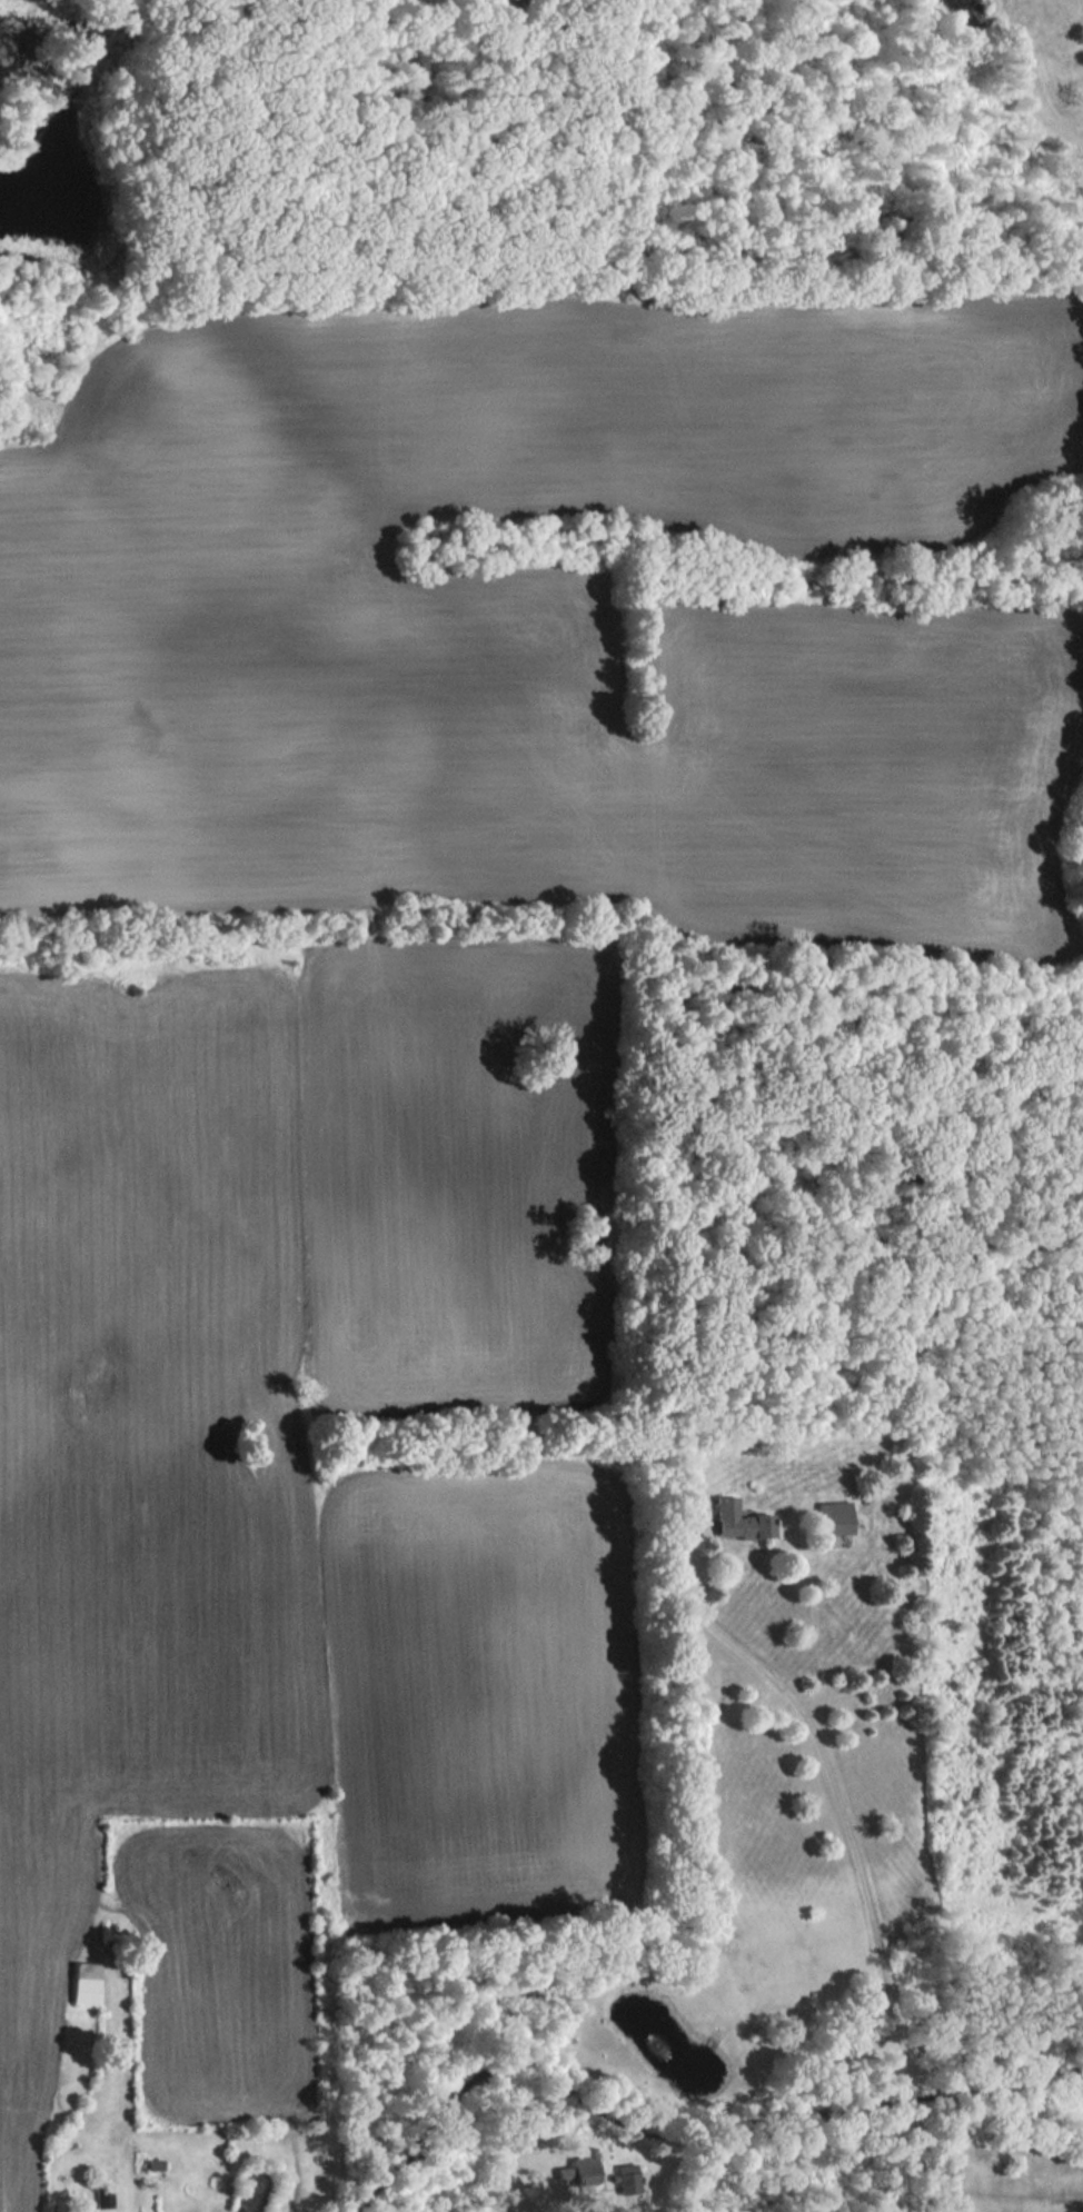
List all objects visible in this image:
building: (833, 1517)
building: (737, 1519)
road: (855, 1845)
building: (85, 1983)
building: (587, 2170)
building: (628, 2185)
building: (103, 2198)
road: (634, 2210)

